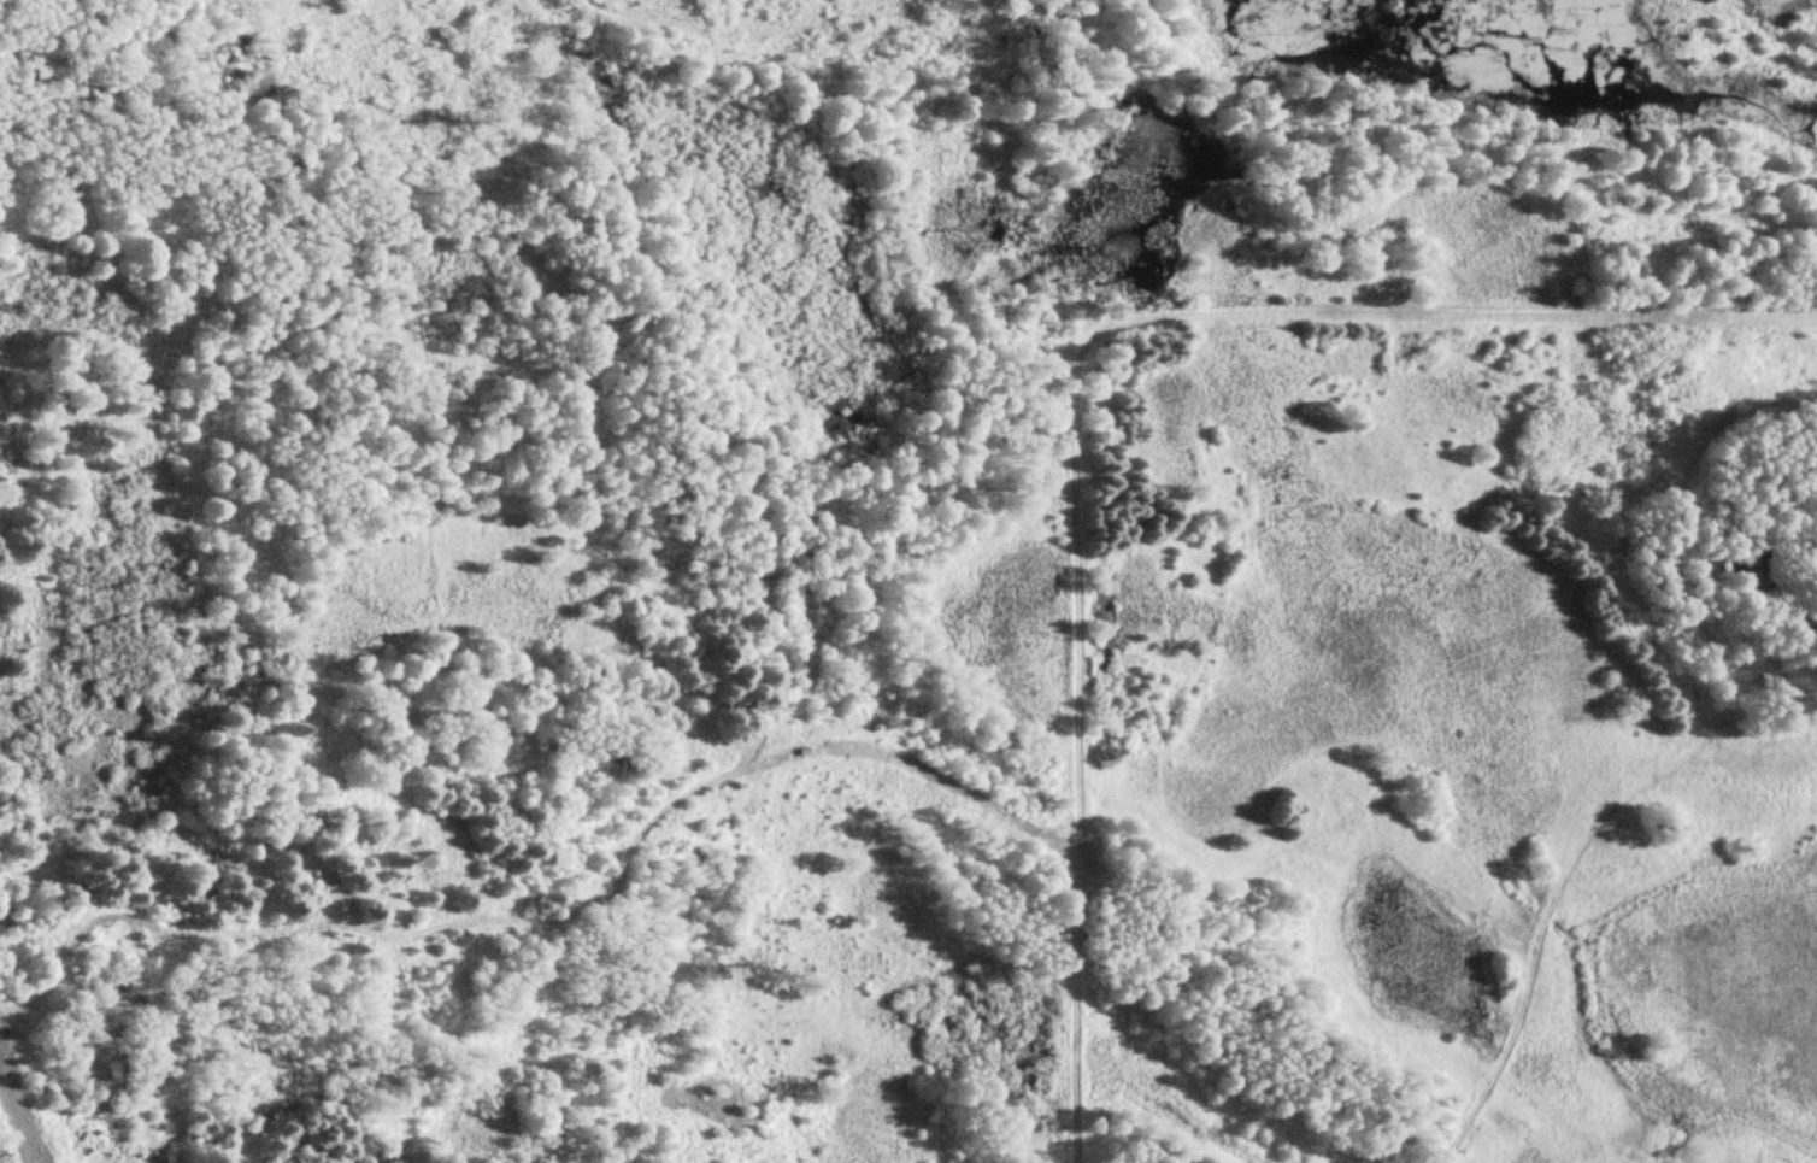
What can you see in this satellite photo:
road: (1813, 322)
road: (1074, 381)

